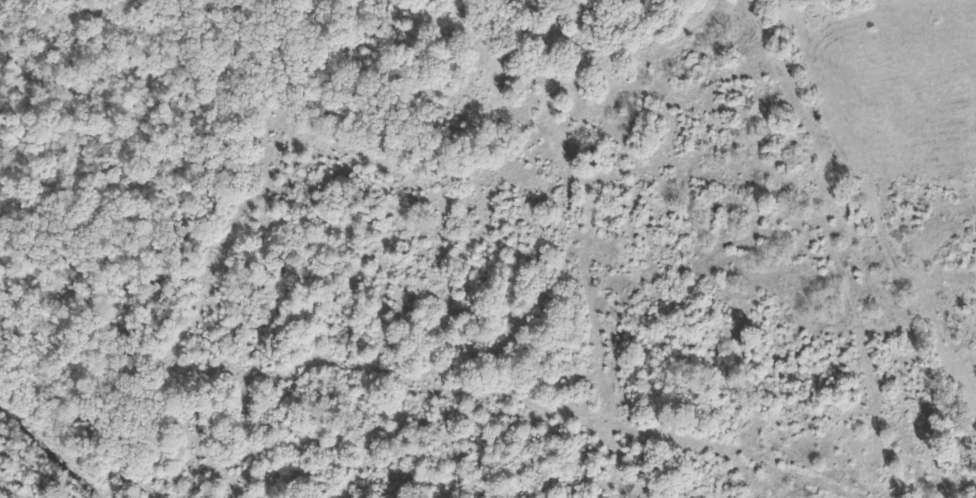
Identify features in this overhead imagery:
road: (733, 461)

